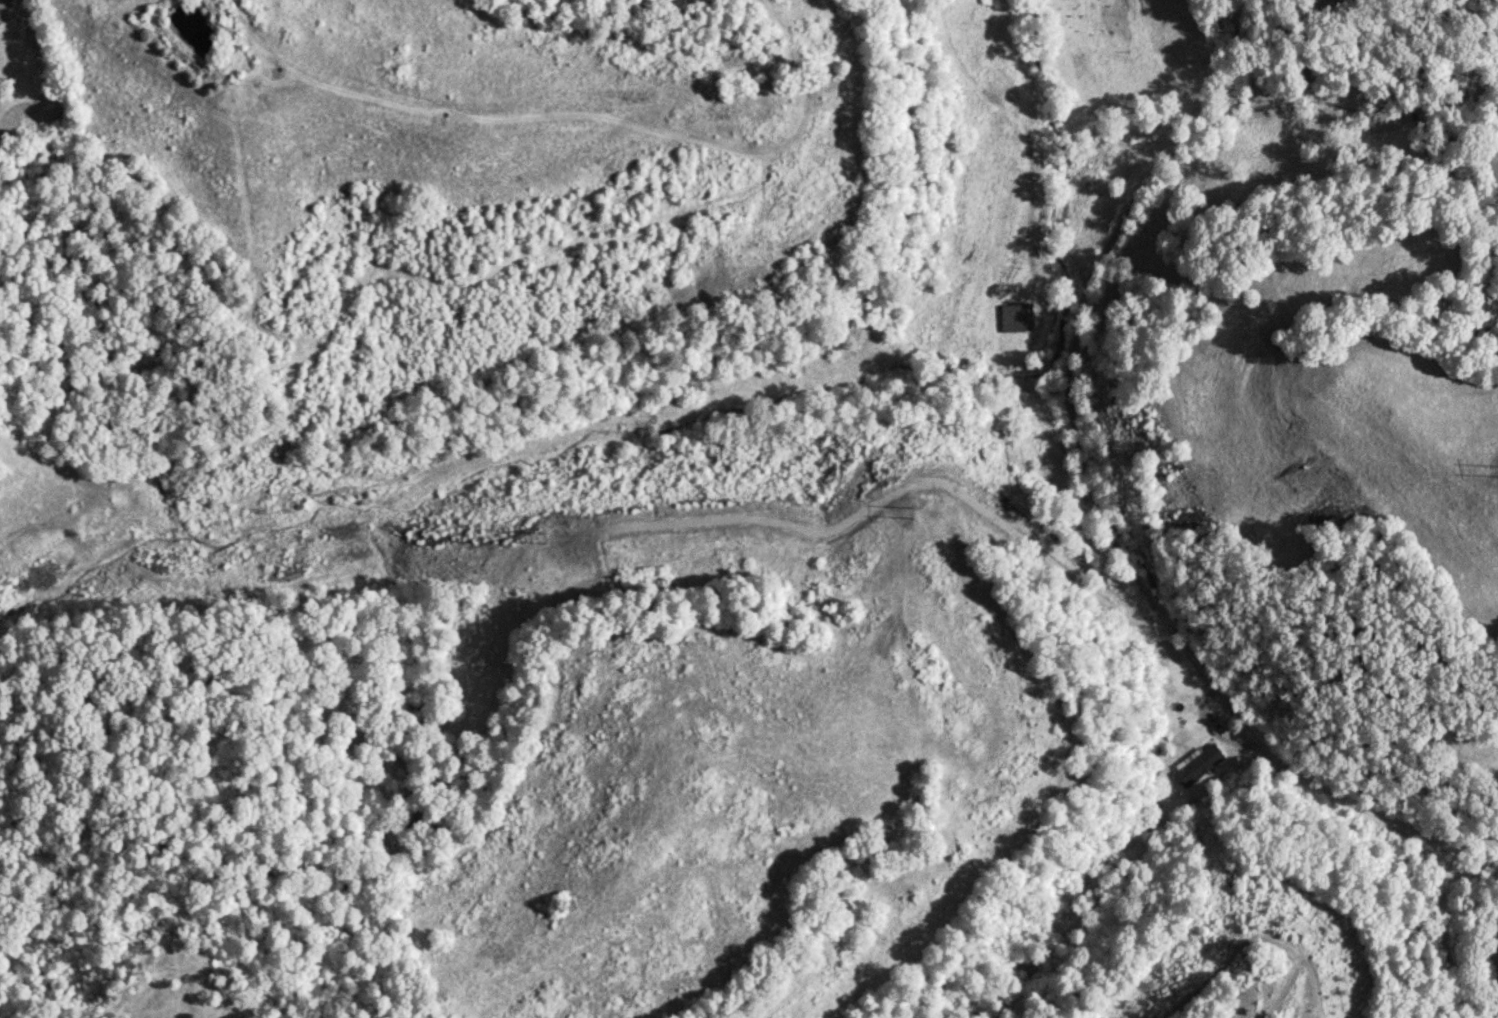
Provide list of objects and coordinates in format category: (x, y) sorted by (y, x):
building: (1018, 319)
road: (1108, 520)
building: (1198, 765)
road: (1494, 970)

